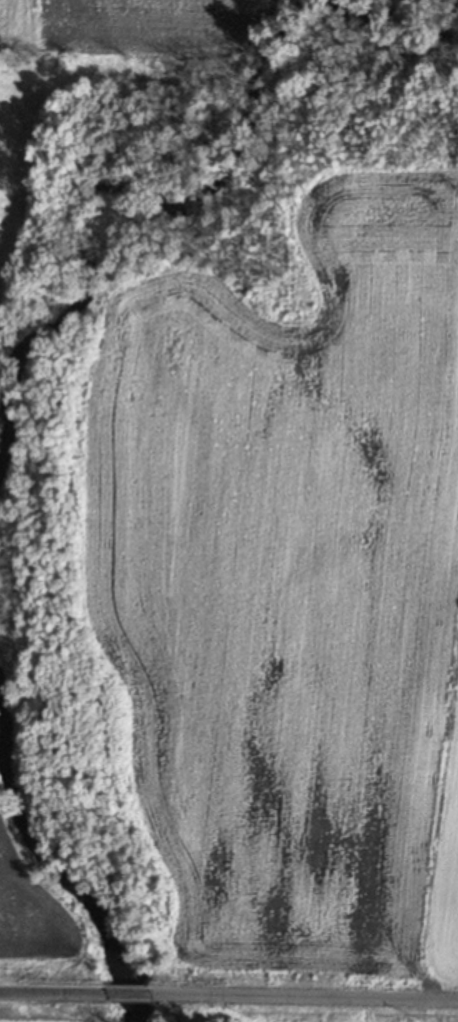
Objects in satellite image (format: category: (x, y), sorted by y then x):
road: (229, 995)

